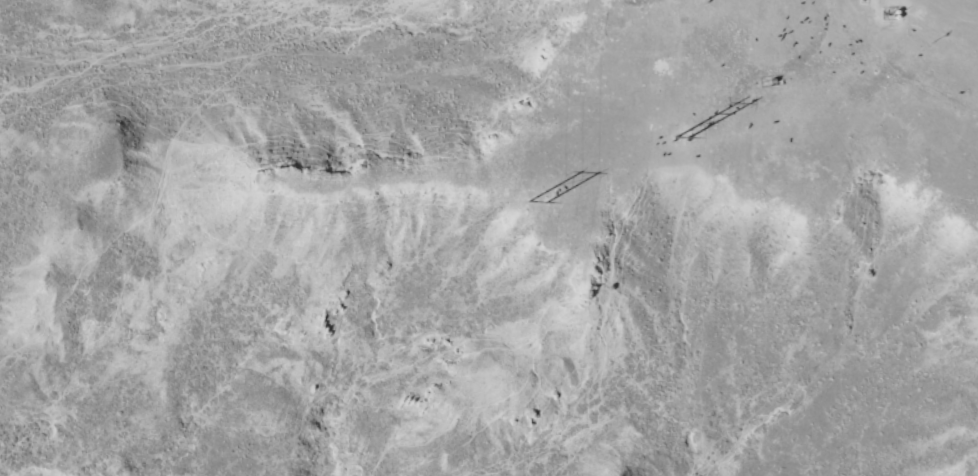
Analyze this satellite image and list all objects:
power tower: (684, 140)
power tower: (541, 212)

